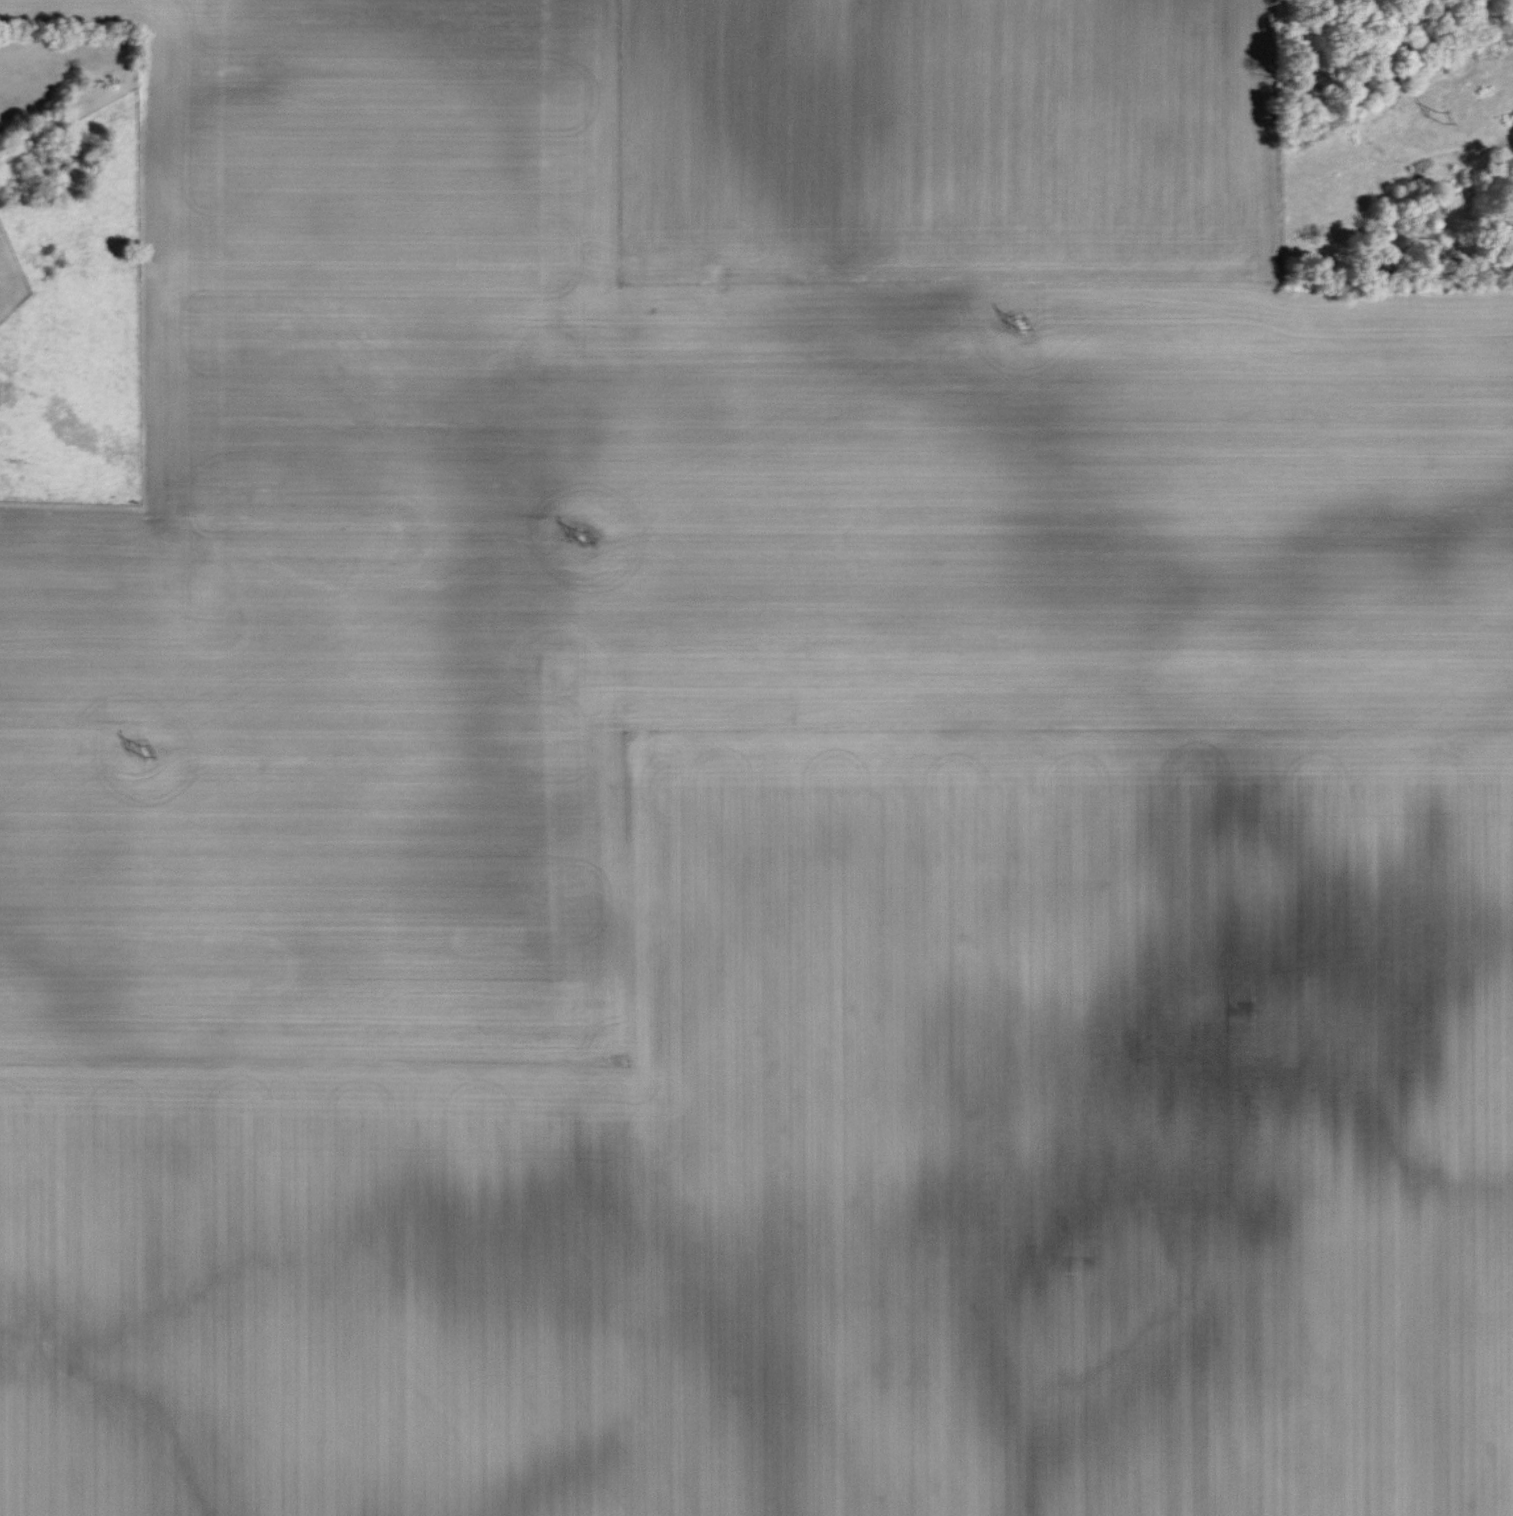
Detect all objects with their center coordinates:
power tower: (1439, 118)
power tower: (1015, 324)
power tower: (582, 533)
power tower: (142, 750)

